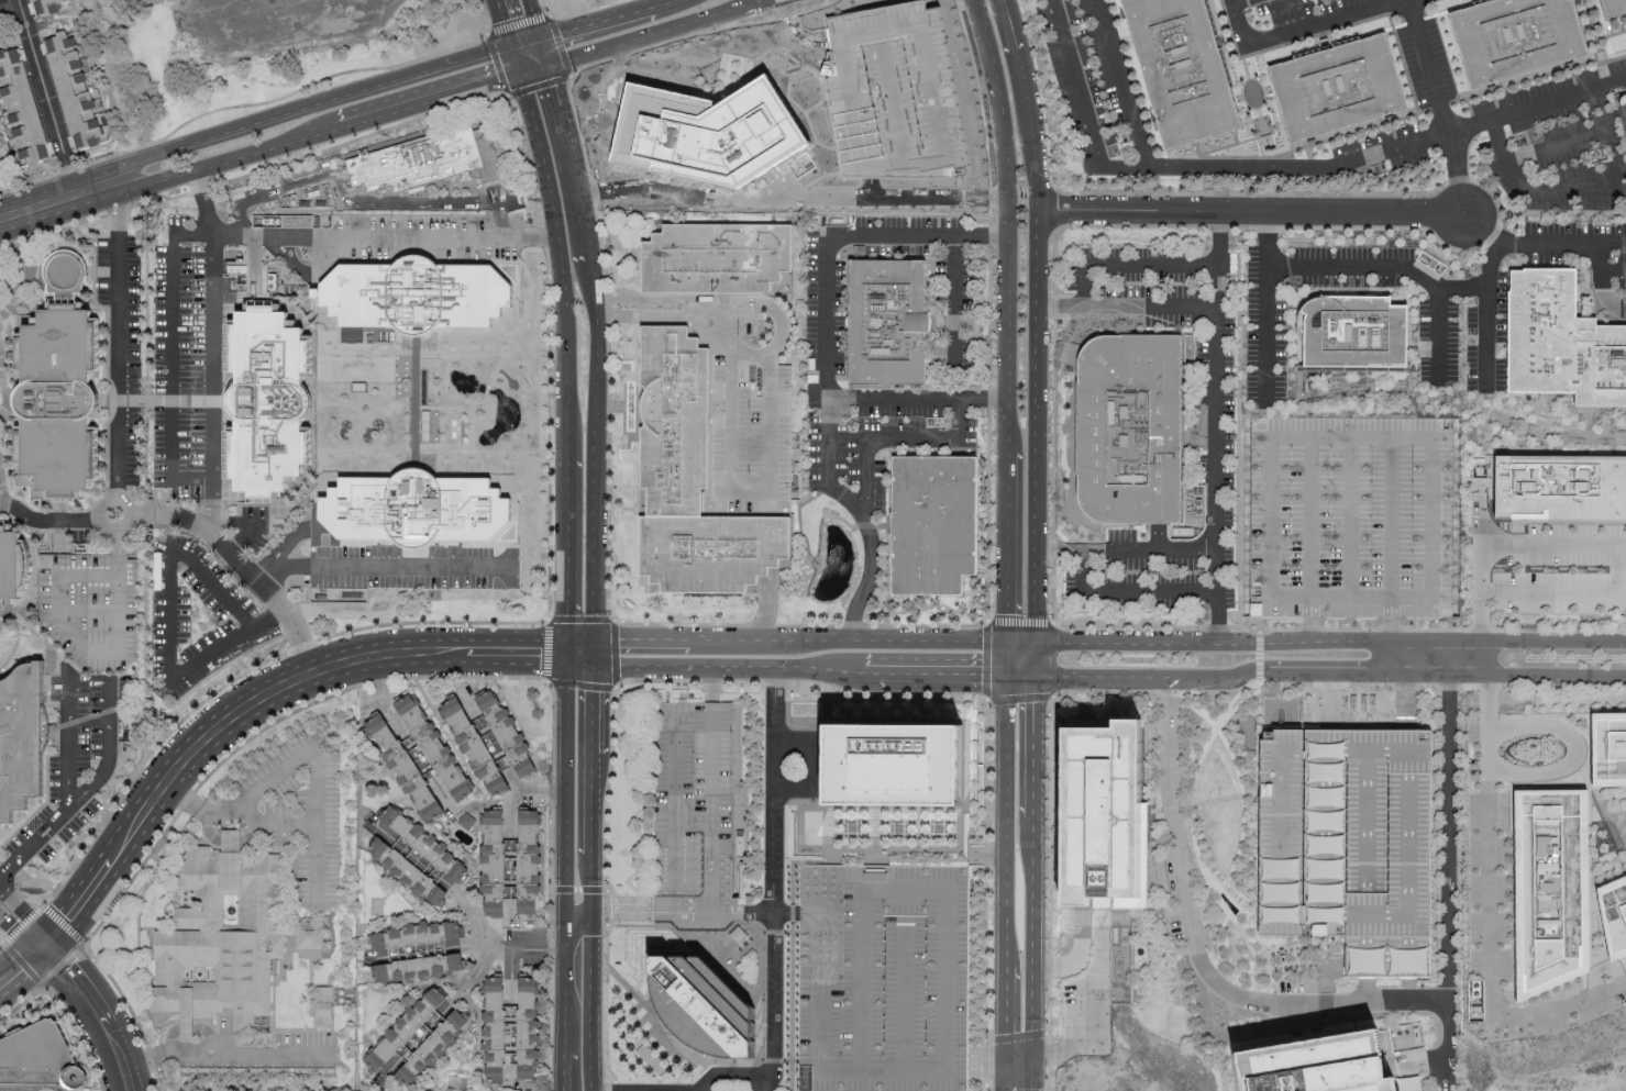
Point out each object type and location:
road: (662, 2)
road: (1241, 2)
building: (1613, 5)
building: (48, 7)
road: (727, 9)
parking lot: (1296, 9)
road: (530, 20)
road: (595, 22)
road: (502, 23)
road: (1296, 30)
building: (1514, 36)
traffic signals: (537, 40)
road: (620, 42)
road: (706, 42)
road: (523, 43)
traffic signals: (511, 47)
road: (540, 53)
road: (515, 59)
traffic signals: (543, 66)
parking lot: (1426, 66)
road: (531, 68)
building: (1182, 69)
traffic signals: (519, 71)
parking lot: (1089, 78)
road: (1120, 85)
building: (1337, 88)
building: (76, 91)
road: (48, 96)
road: (430, 99)
parking lot: (644, 102)
road: (891, 102)
road: (317, 107)
building: (23, 109)
parking lot: (850, 112)
road: (815, 115)
road: (854, 115)
building: (734, 127)
parking lot: (1557, 144)
parking lot: (1391, 147)
road: (1558, 147)
road: (232, 160)
building: (436, 163)
road: (1281, 170)
road: (1458, 170)
road: (1586, 183)
parking lot: (280, 191)
road: (63, 196)
road: (1535, 196)
road: (367, 200)
road: (1248, 212)
road: (1005, 222)
road: (223, 235)
road: (560, 241)
road: (1606, 244)
parking lot: (1578, 248)
building: (715, 257)
road: (1129, 267)
road: (1612, 274)
road: (1602, 282)
road: (1461, 290)
building: (416, 294)
road: (956, 304)
road: (1126, 308)
parking lot: (954, 316)
building: (889, 323)
road: (830, 324)
road: (719, 329)
parking lot: (1492, 332)
parking lot: (1263, 333)
building: (1356, 335)
road: (118, 338)
building: (1560, 342)
parking lot: (122, 353)
road: (214, 353)
road: (596, 355)
parking lot: (189, 359)
road: (1396, 392)
road: (1487, 394)
building: (56, 403)
building: (275, 403)
parking lot: (1219, 412)
building: (1128, 427)
road: (1216, 427)
parking lot: (753, 428)
road: (1350, 437)
parking lot: (881, 441)
road: (900, 443)
building: (690, 479)
building: (1560, 488)
road: (744, 489)
road: (5, 504)
road: (132, 512)
building: (418, 513)
road: (864, 514)
road: (1309, 517)
road: (1349, 517)
building: (1350, 517)
parking garage: (1350, 517)
road: (1391, 517)
road: (53, 521)
building: (938, 524)
road: (567, 534)
road: (1004, 544)
road: (1035, 544)
road: (1125, 552)
building: (14, 567)
road: (243, 567)
parking lot: (413, 568)
road: (1616, 568)
road: (380, 569)
road: (169, 590)
road: (1128, 593)
road: (1349, 598)
building: (90, 608)
parking garage: (90, 608)
road: (89, 611)
parking lot: (197, 619)
road: (640, 637)
road: (845, 637)
road: (1029, 641)
road: (1340, 645)
traffic signals: (593, 652)
road: (580, 653)
road: (90, 654)
traffic signals: (568, 654)
road: (1002, 655)
road: (681, 668)
road: (819, 669)
road: (933, 669)
road: (1029, 670)
road: (1340, 671)
road: (70, 700)
road: (108, 701)
road: (225, 720)
road: (96, 721)
building: (506, 734)
building: (23, 739)
building: (436, 749)
building: (475, 749)
road: (1574, 749)
building: (1607, 750)
parking lot: (77, 760)
road: (710, 765)
building: (895, 765)
road: (317, 770)
building: (403, 770)
road: (676, 772)
road: (593, 780)
road: (564, 781)
road: (542, 791)
parking lot: (299, 811)
road: (1002, 816)
building: (1103, 816)
building: (694, 817)
parking garage: (694, 817)
building: (467, 820)
road: (230, 839)
building: (1348, 843)
parking lot: (1348, 843)
road: (34, 844)
building: (423, 845)
road: (710, 848)
road: (675, 850)
road: (316, 858)
building: (527, 862)
building: (494, 864)
building: (408, 872)
building: (1549, 890)
road: (774, 903)
fountain: (1229, 905)
road: (578, 910)
road: (652, 910)
road: (742, 912)
road: (1492, 913)
building: (1614, 917)
road: (24, 927)
building: (414, 936)
building: (229, 939)
road: (523, 948)
traffic signals: (48, 953)
road: (1075, 957)
building: (418, 967)
building: (883, 978)
parking lot: (883, 978)
road: (564, 981)
building: (698, 995)
road: (593, 1000)
road: (1349, 1003)
building: (328, 1006)
road: (1087, 1007)
road: (1002, 1009)
road: (97, 1017)
parking lot: (1086, 1020)
building: (526, 1026)
building: (405, 1027)
building: (493, 1028)
road: (1447, 1039)
building: (432, 1043)
road: (224, 1050)
road: (985, 1054)
building: (45, 1060)
road: (1422, 1060)
building: (1316, 1065)
road: (566, 1071)
road: (1002, 1071)

